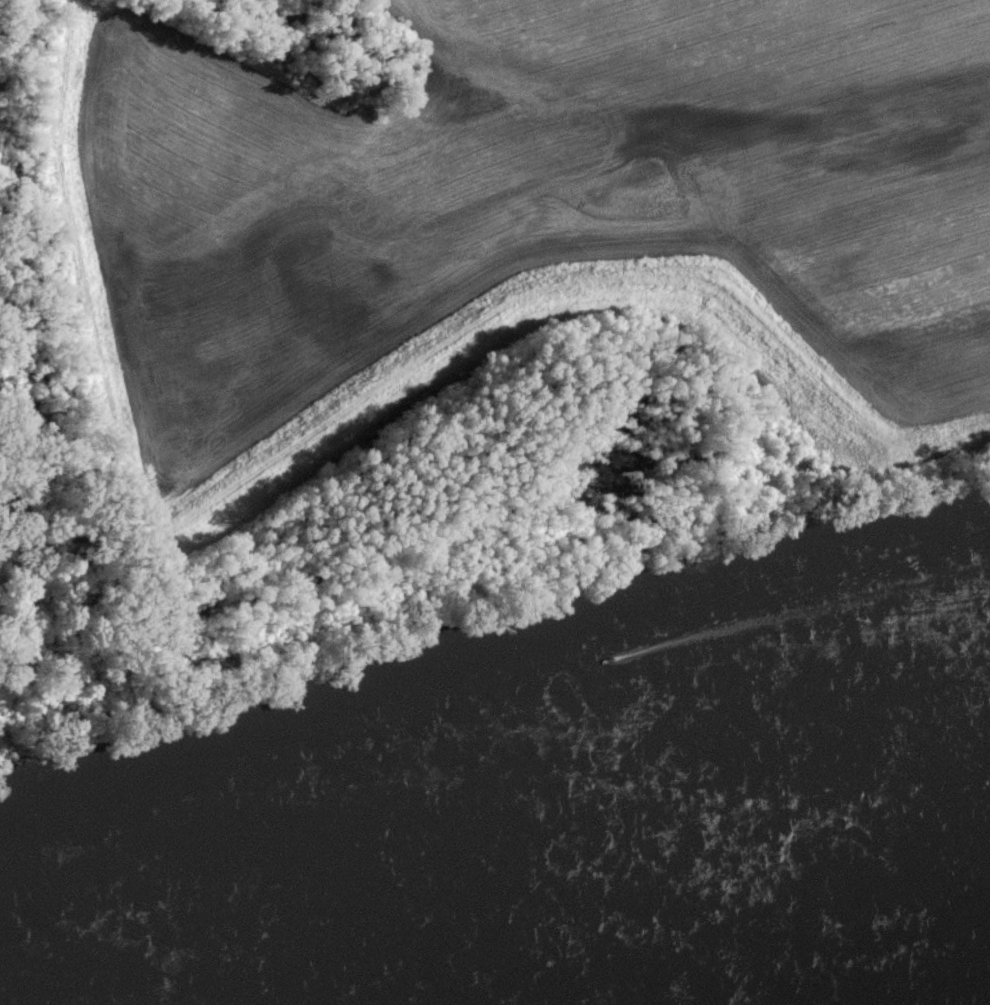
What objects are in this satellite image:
river: (949, 993)

